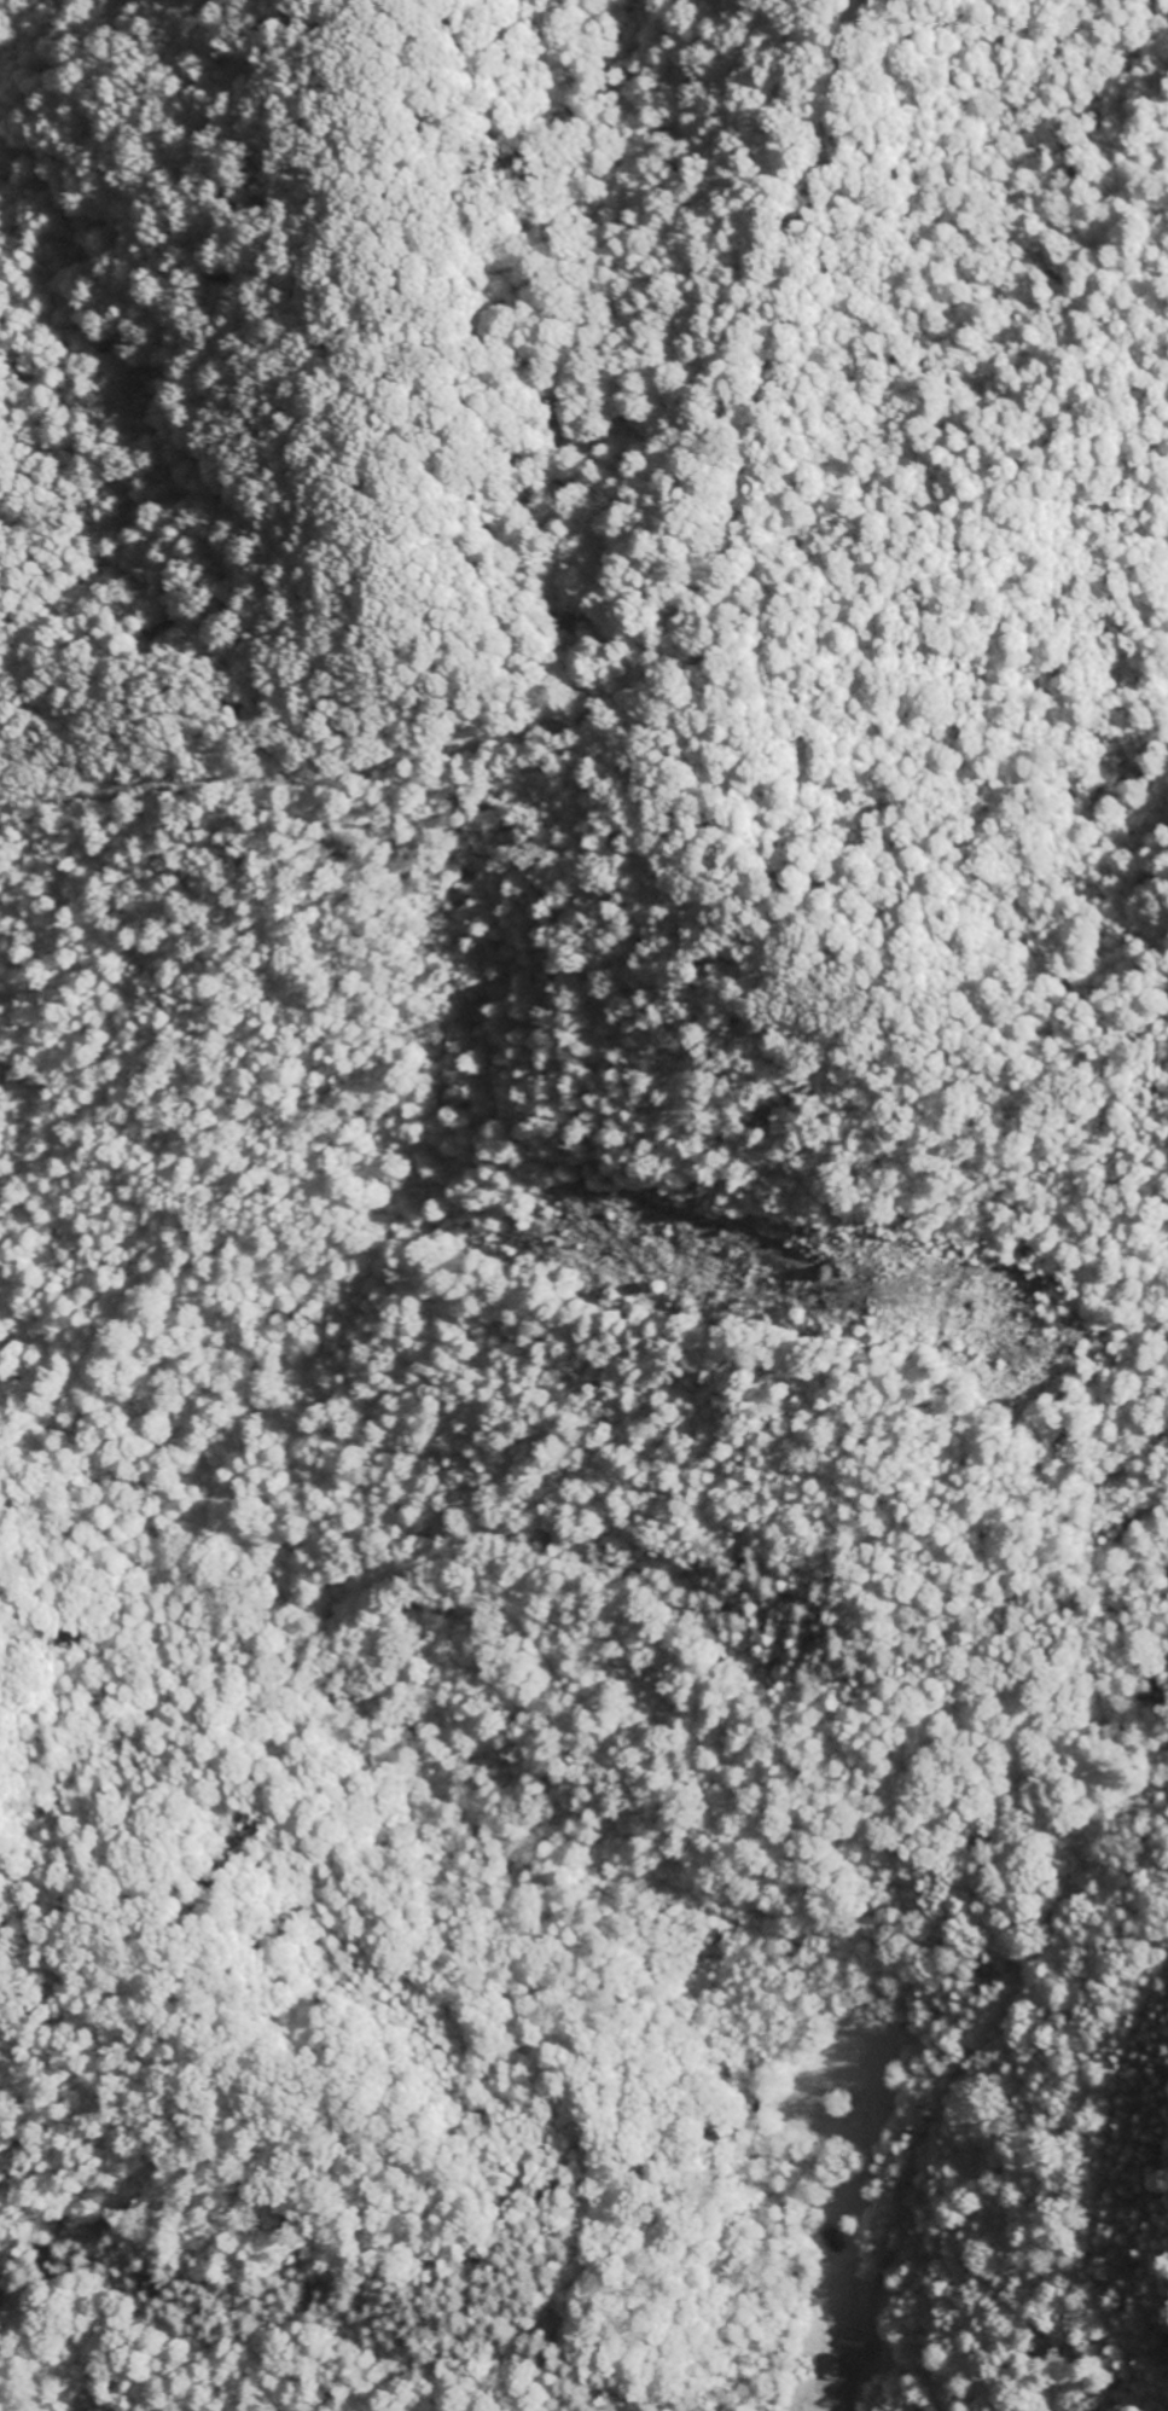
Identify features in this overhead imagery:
power tower: (853, 1296)
road: (931, 2380)

